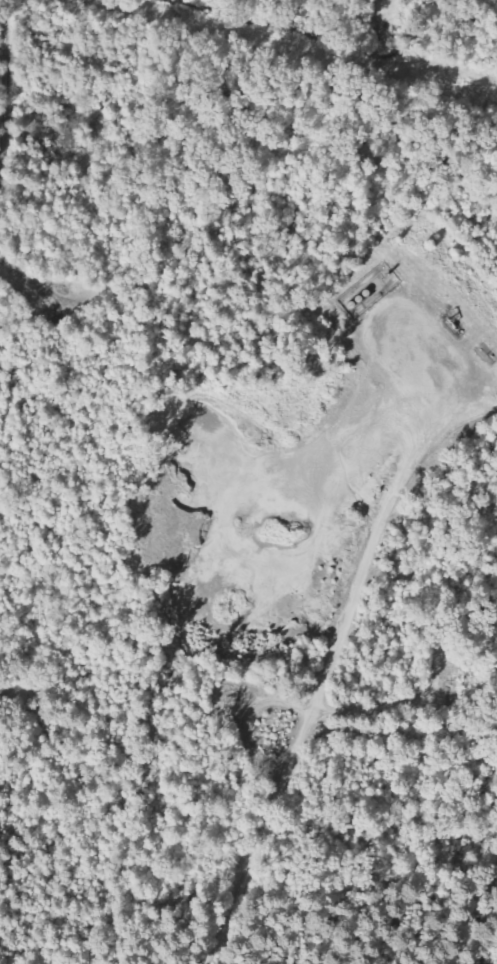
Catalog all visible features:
road: (5, 80)

